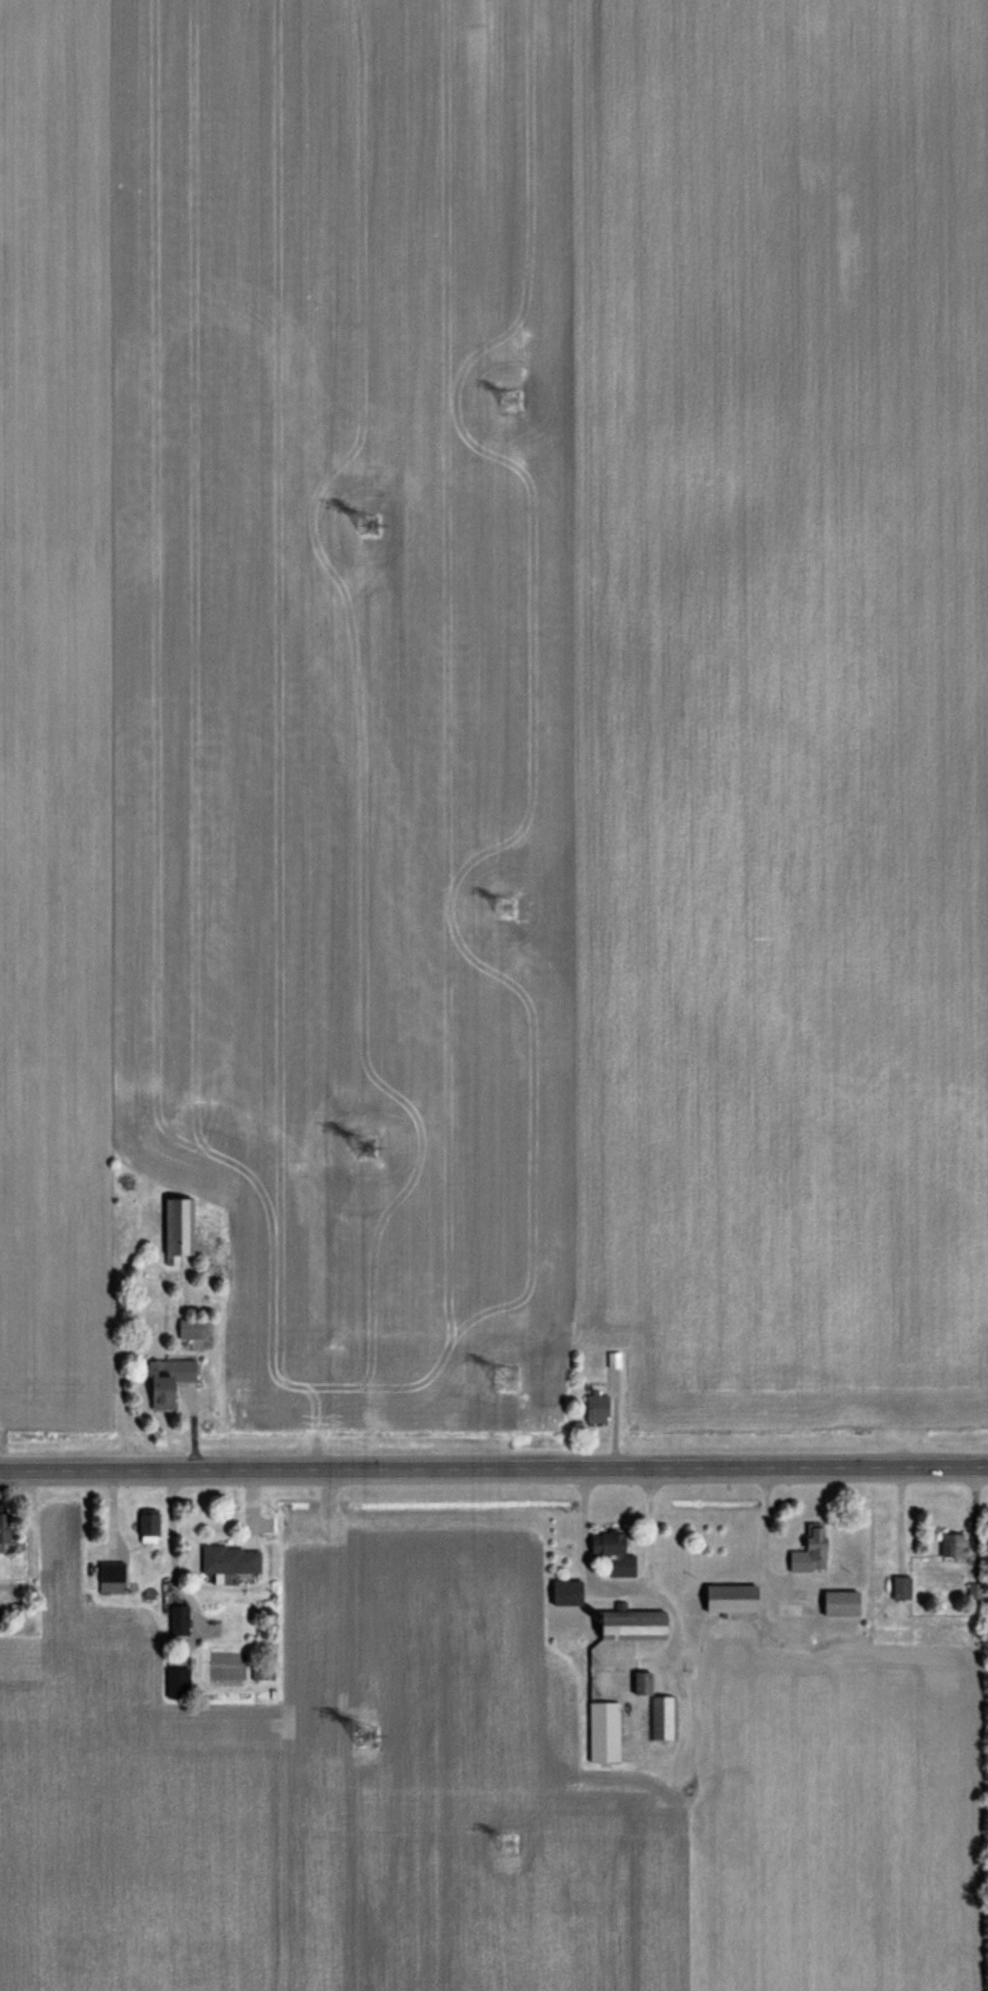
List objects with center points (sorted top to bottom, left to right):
power tower: (512, 397)
power tower: (366, 527)
power tower: (504, 909)
power tower: (360, 1148)
building: (174, 1229)
building: (184, 1329)
power tower: (504, 1377)
building: (165, 1381)
building: (593, 1408)
road: (494, 1470)
building: (145, 1526)
building: (1, 1532)
road: (762, 1534)
building: (950, 1545)
building: (808, 1550)
building: (609, 1553)
building: (227, 1560)
building: (108, 1578)
road: (615, 1582)
building: (899, 1587)
building: (563, 1592)
building: (726, 1599)
building: (837, 1603)
road: (668, 1608)
building: (175, 1620)
building: (627, 1625)
building: (174, 1682)
building: (638, 1683)
building: (662, 1718)
building: (601, 1732)
power tower: (364, 1736)
power tower: (510, 1849)

